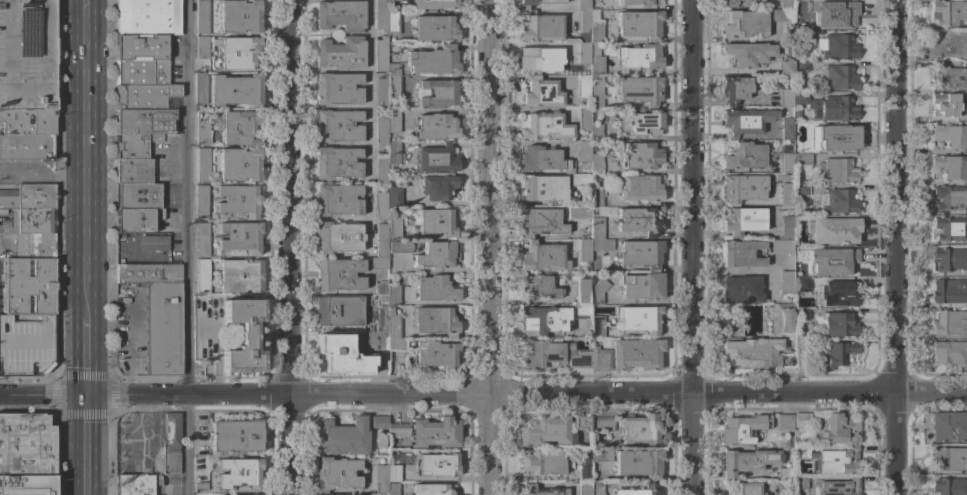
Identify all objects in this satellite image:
building: (393, 0)
building: (743, 0)
building: (640, 2)
building: (535, 3)
building: (730, 3)
building: (786, 3)
building: (434, 4)
building: (583, 5)
building: (949, 13)
building: (340, 15)
building: (380, 15)
building: (782, 15)
building: (836, 15)
building: (202, 16)
building: (240, 16)
building: (148, 17)
building: (800, 22)
building: (742, 23)
building: (639, 24)
building: (583, 25)
building: (393, 26)
building: (540, 27)
building: (435, 28)
road: (43, 29)
building: (595, 31)
building: (803, 35)
building: (949, 43)
building: (837, 46)
building: (141, 47)
building: (202, 47)
building: (583, 52)
building: (239, 53)
building: (340, 53)
building: (748, 53)
building: (27, 54)
building: (381, 54)
building: (640, 56)
building: (796, 57)
parking lot: (22, 58)
building: (539, 59)
building: (596, 60)
building: (433, 61)
building: (801, 66)
building: (786, 67)
building: (142, 72)
building: (838, 77)
building: (948, 78)
road: (9, 79)
building: (393, 81)
building: (582, 86)
building: (200, 87)
building: (337, 88)
building: (735, 88)
building: (236, 90)
building: (639, 90)
building: (381, 93)
building: (438, 93)
building: (541, 93)
building: (596, 96)
building: (146, 97)
building: (786, 97)
building: (800, 98)
building: (945, 103)
building: (834, 107)
building: (798, 113)
building: (583, 119)
building: (394, 120)
building: (144, 121)
building: (28, 122)
building: (742, 122)
building: (641, 123)
building: (337, 125)
building: (544, 126)
building: (239, 127)
building: (435, 127)
building: (202, 128)
building: (786, 128)
building: (381, 131)
building: (596, 132)
building: (950, 135)
building: (837, 137)
building: (134, 145)
building: (26, 146)
building: (583, 151)
building: (394, 153)
building: (641, 155)
building: (744, 156)
road: (86, 157)
building: (437, 159)
building: (803, 159)
building: (542, 160)
building: (337, 162)
building: (596, 163)
building: (786, 163)
building: (240, 164)
building: (203, 165)
building: (952, 166)
building: (381, 169)
building: (837, 170)
building: (133, 171)
road: (43, 172)
building: (782, 178)
building: (579, 179)
building: (438, 187)
building: (542, 187)
building: (640, 188)
building: (743, 188)
building: (802, 189)
building: (786, 194)
building: (137, 196)
building: (394, 196)
building: (597, 196)
building: (28, 197)
road: (496, 197)
road: (897, 197)
building: (950, 197)
building: (238, 200)
building: (338, 200)
building: (838, 201)
building: (201, 202)
building: (380, 205)
building: (579, 212)
building: (136, 220)
building: (743, 220)
building: (34, 221)
building: (638, 221)
building: (437, 222)
building: (540, 222)
building: (951, 227)
building: (394, 228)
building: (596, 228)
building: (787, 228)
building: (834, 230)
building: (240, 237)
building: (337, 237)
building: (586, 237)
building: (202, 240)
building: (381, 240)
building: (152, 242)
building: (601, 244)
building: (34, 245)
building: (782, 246)
road: (190, 247)
road: (296, 247)
building: (400, 247)
road: (693, 247)
building: (584, 250)
building: (805, 252)
building: (741, 253)
building: (640, 254)
building: (437, 255)
building: (542, 257)
building: (949, 259)
building: (379, 262)
building: (839, 263)
building: (148, 273)
building: (338, 275)
building: (203, 276)
building: (240, 276)
building: (786, 283)
building: (802, 285)
building: (29, 286)
building: (538, 286)
building: (641, 286)
building: (380, 287)
building: (435, 289)
building: (741, 289)
building: (581, 291)
building: (597, 291)
building: (949, 291)
building: (838, 294)
building: (393, 295)
building: (382, 297)
building: (337, 311)
building: (580, 312)
building: (802, 314)
building: (639, 318)
building: (381, 319)
building: (782, 319)
building: (543, 320)
building: (435, 321)
building: (950, 322)
building: (837, 325)
building: (597, 326)
building: (393, 327)
building: (163, 329)
building: (204, 330)
building: (243, 336)
building: (23, 343)
parking lot: (23, 343)
building: (397, 344)
building: (372, 345)
road: (129, 348)
building: (755, 353)
building: (950, 353)
building: (436, 354)
building: (546, 354)
building: (836, 354)
road: (89, 355)
building: (341, 355)
building: (627, 355)
building: (580, 360)
road: (483, 394)
traffic signals: (90, 395)
building: (801, 420)
building: (379, 422)
building: (581, 422)
building: (785, 422)
building: (603, 424)
building: (948, 426)
building: (743, 428)
building: (838, 428)
building: (639, 429)
building: (398, 430)
building: (545, 431)
building: (435, 432)
building: (236, 436)
building: (341, 437)
building: (26, 444)
building: (165, 444)
road: (899, 444)
road: (90, 445)
building: (380, 445)
road: (498, 445)
building: (612, 445)
building: (802, 452)
building: (601, 455)
building: (949, 459)
building: (748, 460)
building: (840, 461)
building: (540, 462)
building: (639, 463)
building: (438, 465)
building: (585, 470)
building: (239, 473)
building: (336, 473)
building: (393, 473)
building: (785, 474)
building: (380, 478)
building: (800, 483)
building: (135, 484)
building: (27, 485)
building: (201, 485)
building: (950, 486)
building: (839, 487)
building: (584, 488)
building: (596, 488)
building: (743, 488)
building: (393, 489)
building: (434, 489)
building: (541, 490)
building: (639, 491)
building: (787, 492)
building: (346, 494)

